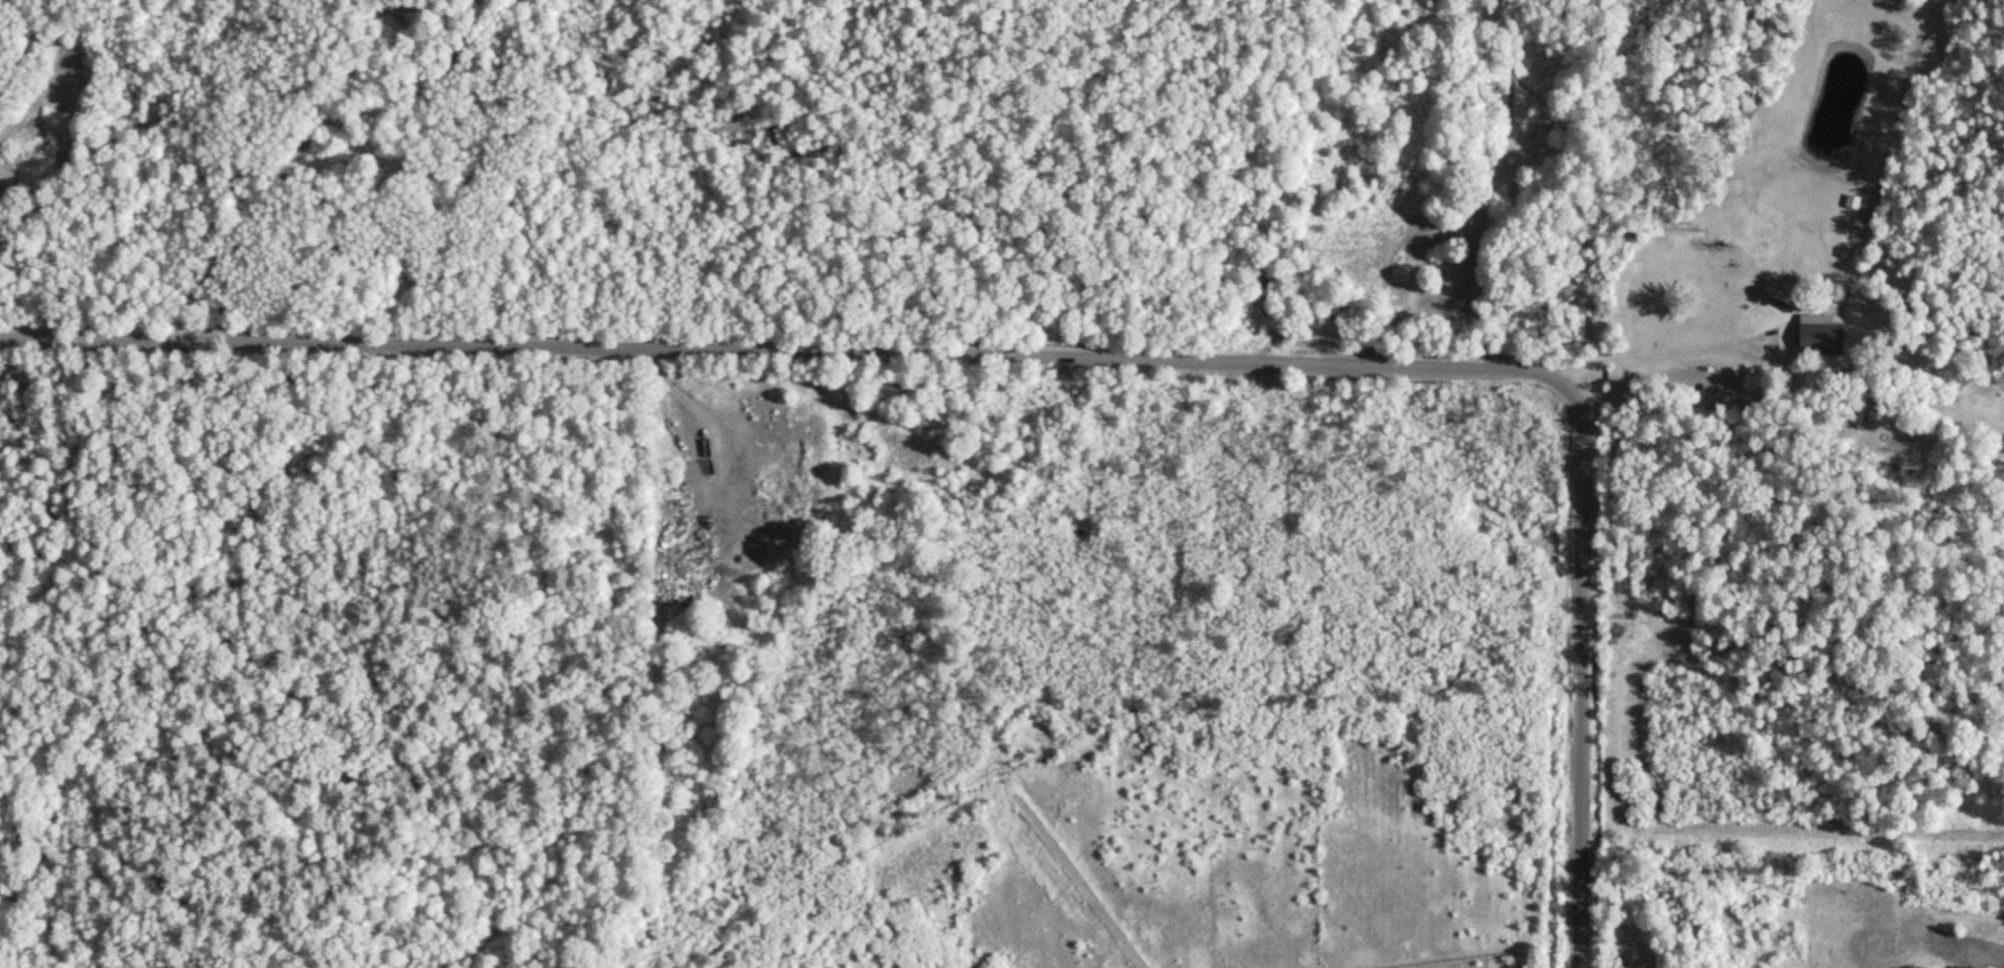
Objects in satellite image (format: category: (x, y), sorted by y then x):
road: (296, 159)
road: (1566, 190)
building: (1828, 339)
road: (1673, 353)
road: (785, 359)
road: (1583, 671)

